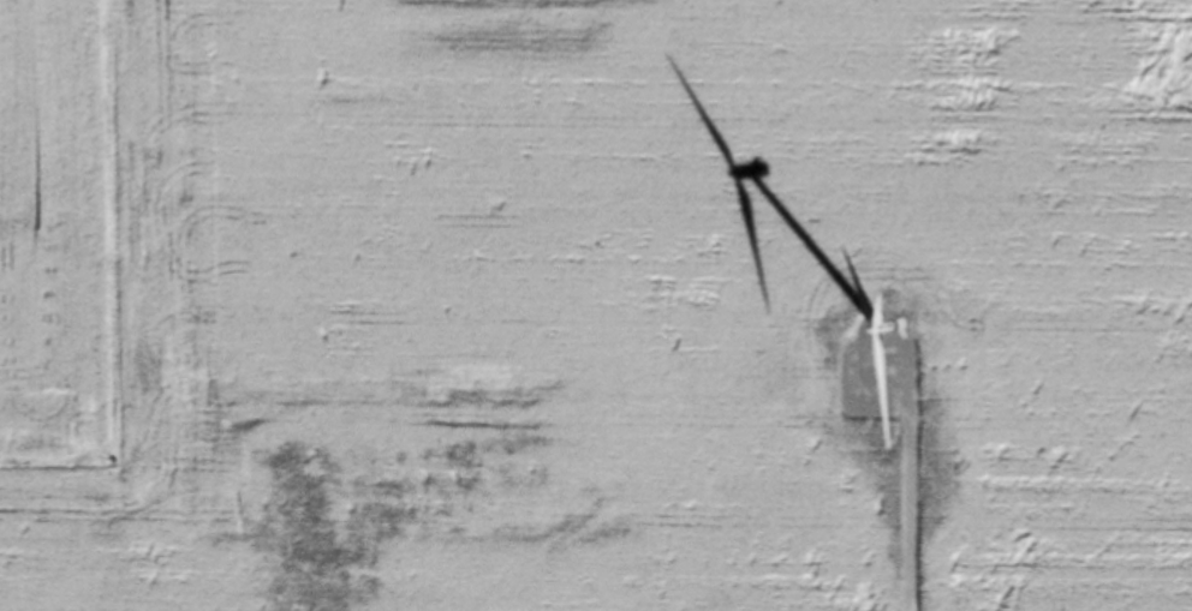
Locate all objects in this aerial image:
wind turbine: (870, 333)
building: (811, 365)
road: (908, 477)

